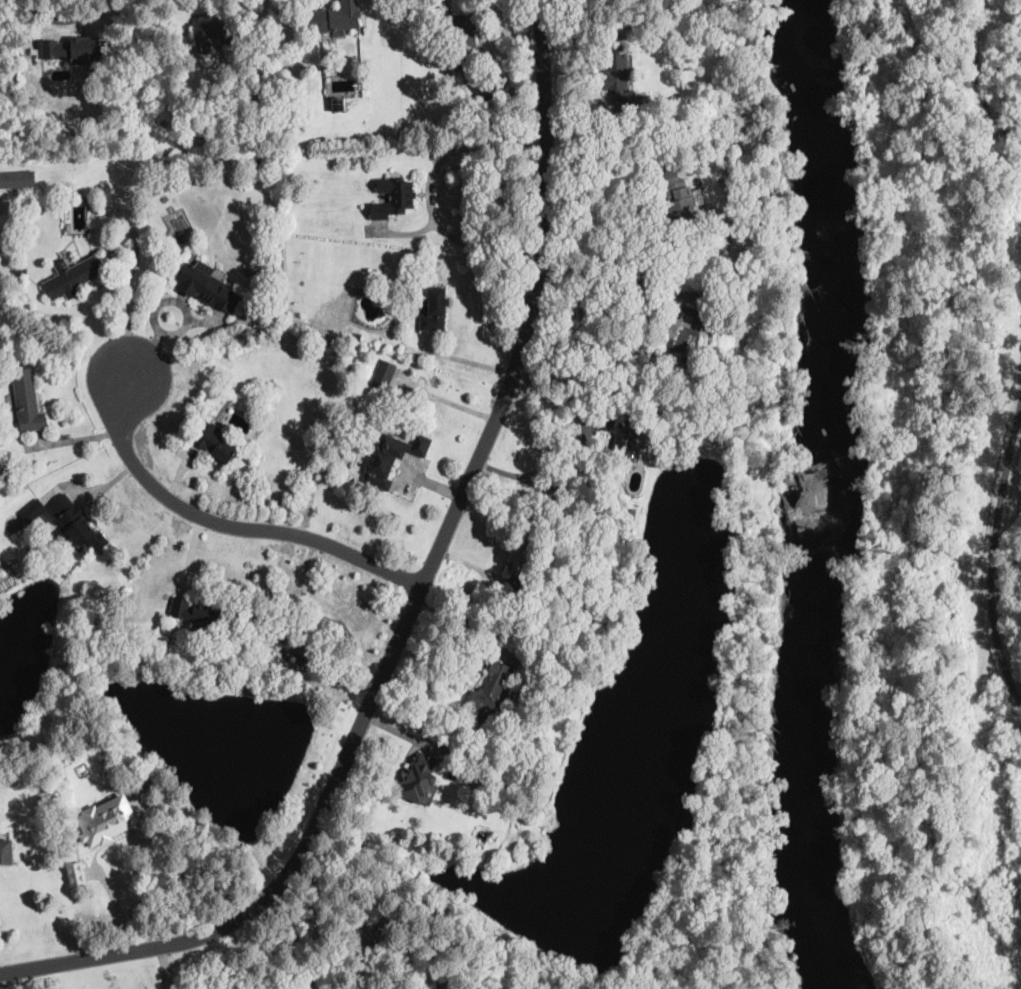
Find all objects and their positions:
road: (67, 18)
building: (333, 19)
building: (718, 25)
building: (216, 32)
building: (463, 42)
building: (70, 47)
building: (620, 77)
building: (338, 103)
building: (479, 112)
building: (72, 144)
building: (668, 159)
building: (260, 160)
building: (18, 178)
road: (431, 191)
road: (609, 193)
building: (165, 197)
building: (676, 197)
building: (393, 198)
building: (163, 237)
road: (135, 259)
building: (21, 271)
building: (71, 278)
building: (207, 287)
building: (435, 310)
road: (671, 310)
building: (682, 332)
building: (356, 337)
park: (939, 341)
building: (384, 375)
building: (27, 401)
building: (620, 431)
building: (711, 441)
building: (214, 444)
building: (392, 458)
building: (7, 472)
road: (540, 472)
river: (825, 500)
building: (34, 511)
building: (636, 522)
building: (75, 524)
road: (232, 527)
road: (993, 549)
building: (523, 552)
building: (531, 591)
road: (422, 597)
building: (196, 613)
building: (521, 640)
building: (300, 644)
building: (203, 650)
building: (517, 665)
building: (491, 689)
building: (419, 777)
building: (106, 819)
park: (943, 829)
building: (5, 852)
building: (76, 872)
road: (117, 906)
building: (380, 931)
road: (248, 957)
road: (165, 967)
building: (449, 983)

